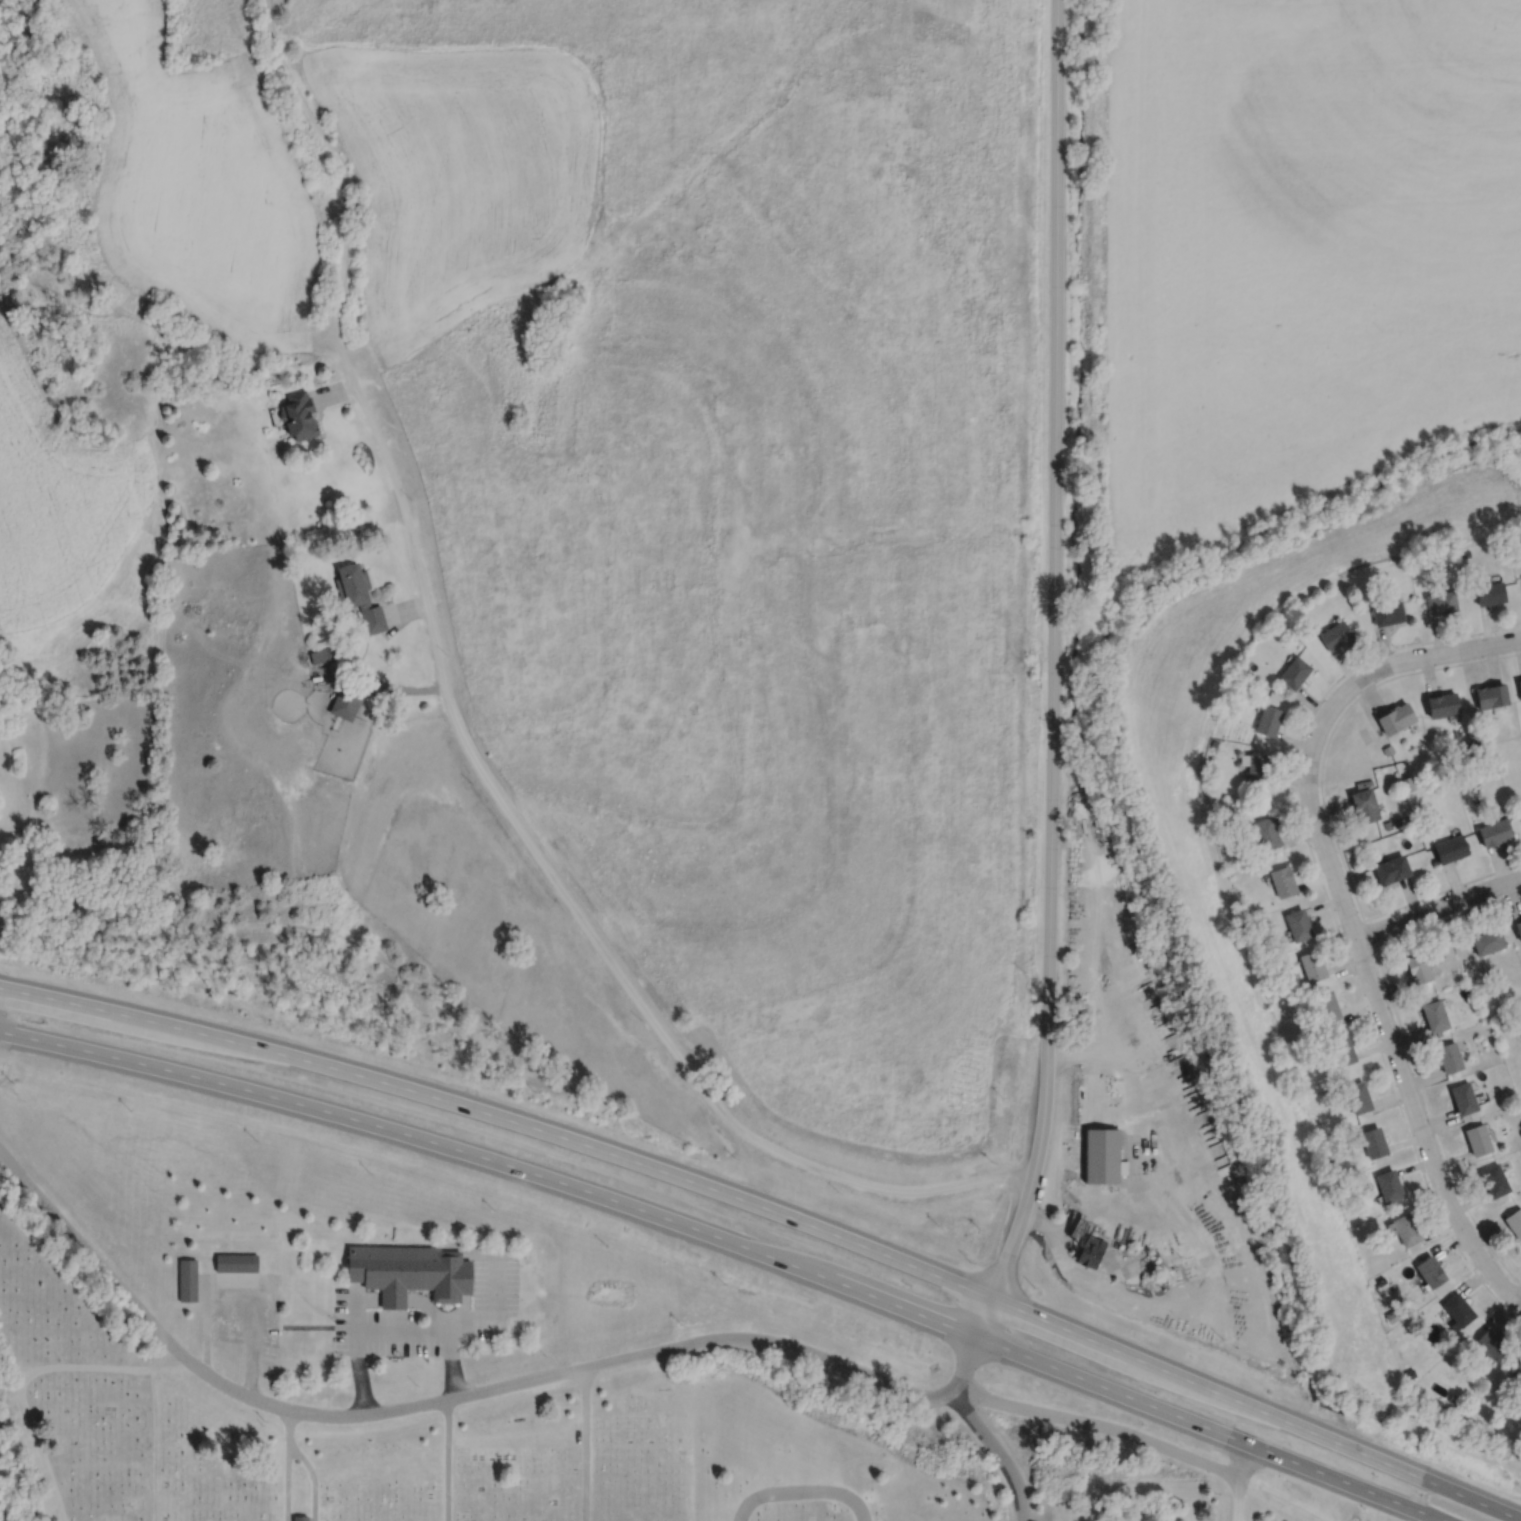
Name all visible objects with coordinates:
road: (341, 168)
building: (298, 415)
building: (352, 585)
building: (1489, 593)
building: (1439, 602)
building: (1387, 613)
building: (372, 619)
building: (1334, 636)
road: (1516, 641)
building: (322, 655)
road: (1052, 673)
building: (1294, 673)
building: (1519, 686)
building: (1491, 696)
building: (347, 702)
building: (1442, 705)
building: (1395, 718)
building: (1267, 720)
road: (1319, 727)
building: (1364, 805)
building: (1520, 812)
building: (1494, 832)
building: (1266, 833)
building: (1449, 848)
building: (1391, 869)
building: (1282, 881)
road: (567, 898)
road: (1440, 908)
building: (1297, 924)
building: (1518, 928)
building: (1487, 941)
building: (1311, 965)
building: (1418, 969)
building: (1326, 1006)
building: (1434, 1015)
building: (1343, 1049)
building: (1448, 1057)
building: (1357, 1097)
building: (1463, 1098)
road: (503, 1117)
road: (1421, 1128)
building: (1477, 1139)
building: (1373, 1142)
road: (1156, 1148)
building: (1102, 1157)
road: (495, 1160)
road: (9, 1165)
building: (1494, 1180)
building: (1388, 1185)
building: (1514, 1223)
building: (1404, 1229)
road: (466, 1252)
building: (1090, 1252)
building: (236, 1263)
building: (1430, 1271)
building: (410, 1272)
road: (466, 1277)
road: (243, 1279)
building: (187, 1280)
road: (368, 1299)
road: (393, 1299)
parking lot: (496, 1300)
road: (466, 1308)
parking lot: (271, 1310)
building: (1457, 1311)
road: (482, 1316)
road: (306, 1326)
road: (448, 1336)
building: (1489, 1345)
road: (356, 1354)
building: (1517, 1370)
road: (26, 1373)
road: (447, 1397)
road: (1255, 1409)
road: (978, 1427)
road: (1209, 1428)
road: (1118, 1430)
park: (427, 1441)
road: (585, 1443)
road: (447, 1459)
road: (1244, 1462)
road: (287, 1465)
road: (313, 1475)
road: (801, 1492)
building: (300, 1517)

